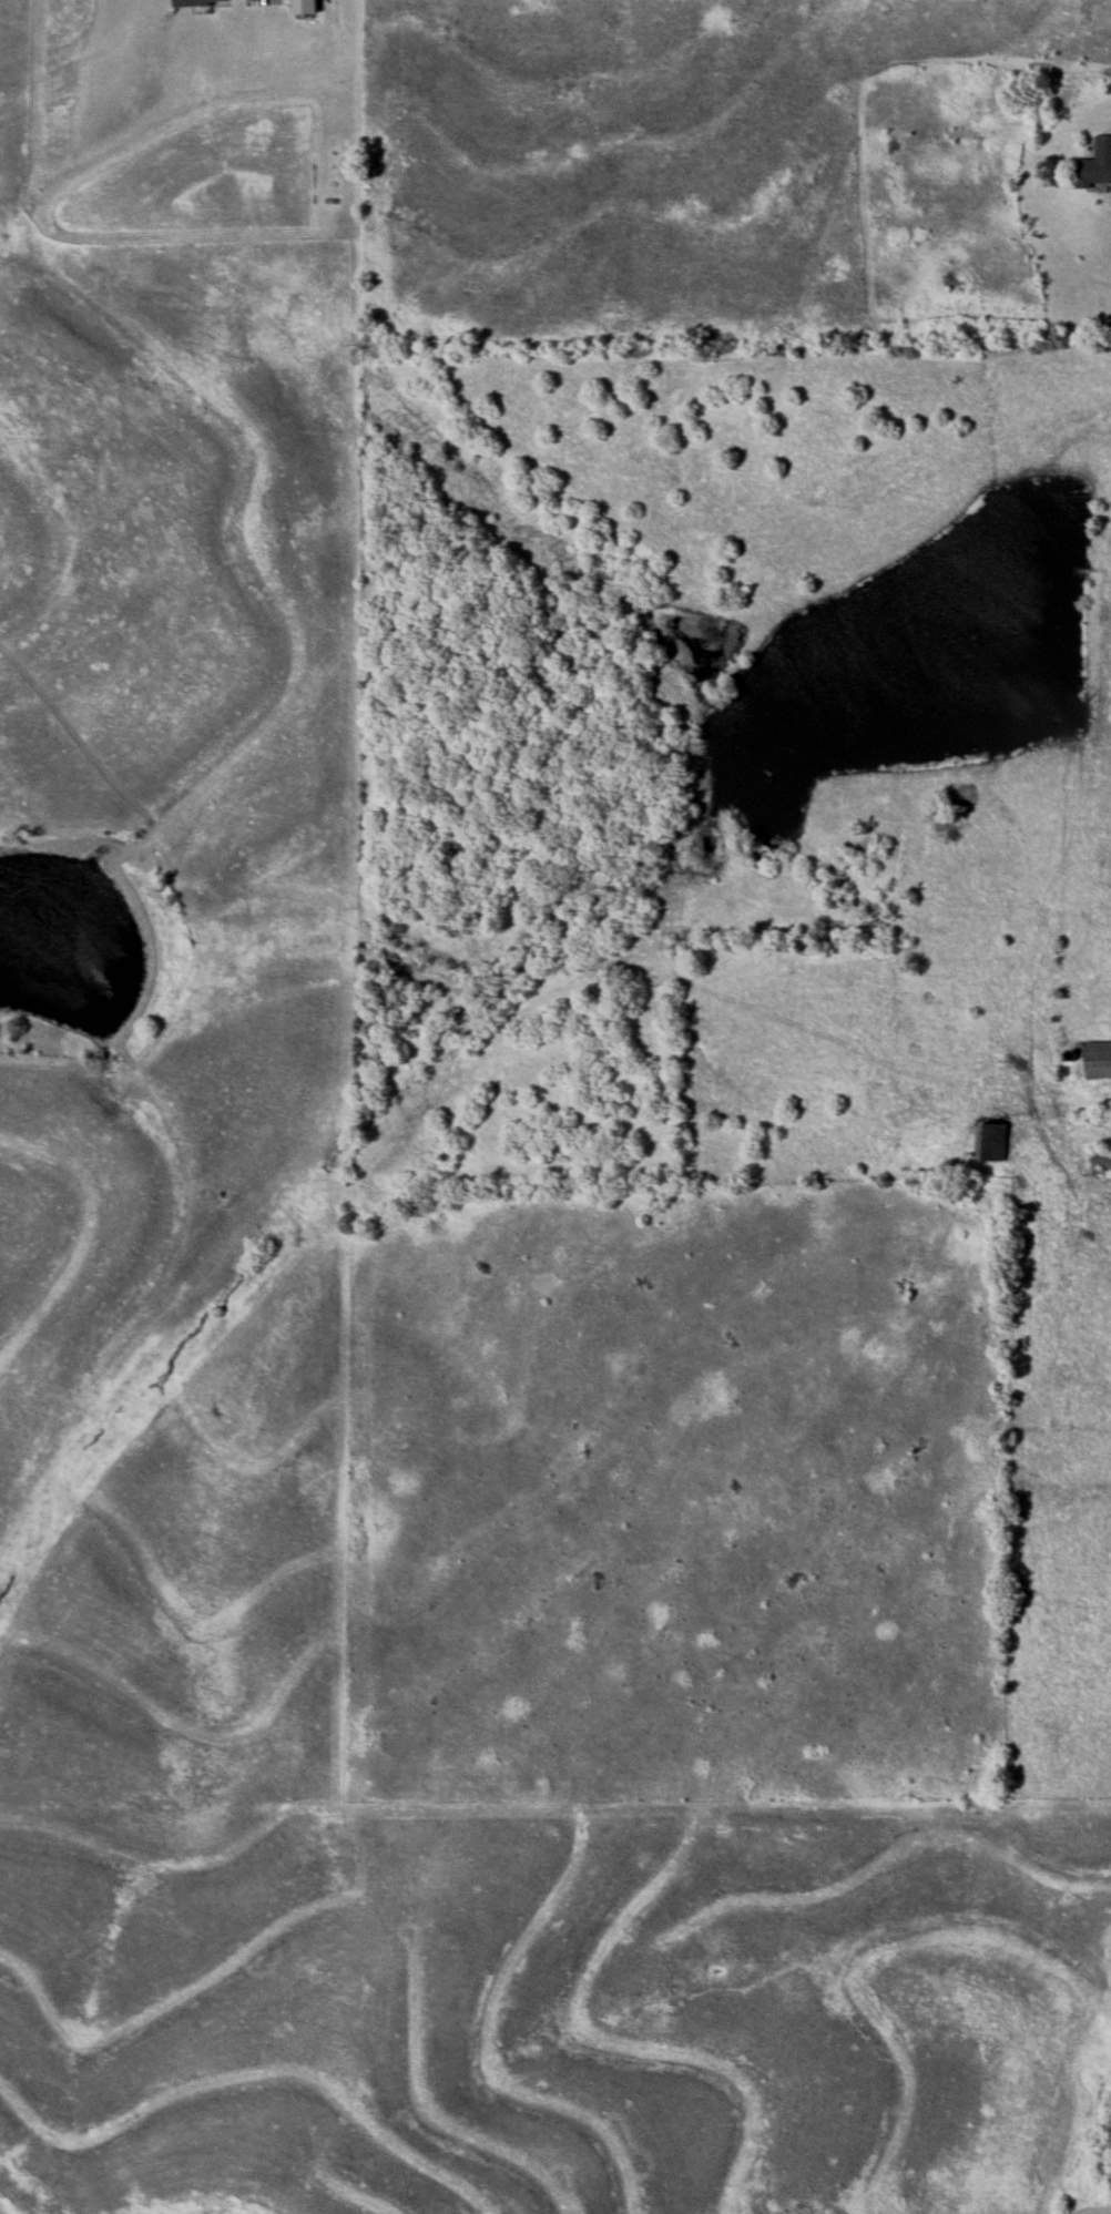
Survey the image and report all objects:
building: (200, 2)
building: (304, 7)
building: (1095, 164)
building: (1098, 1061)
building: (991, 1142)
building: (1101, 1160)

